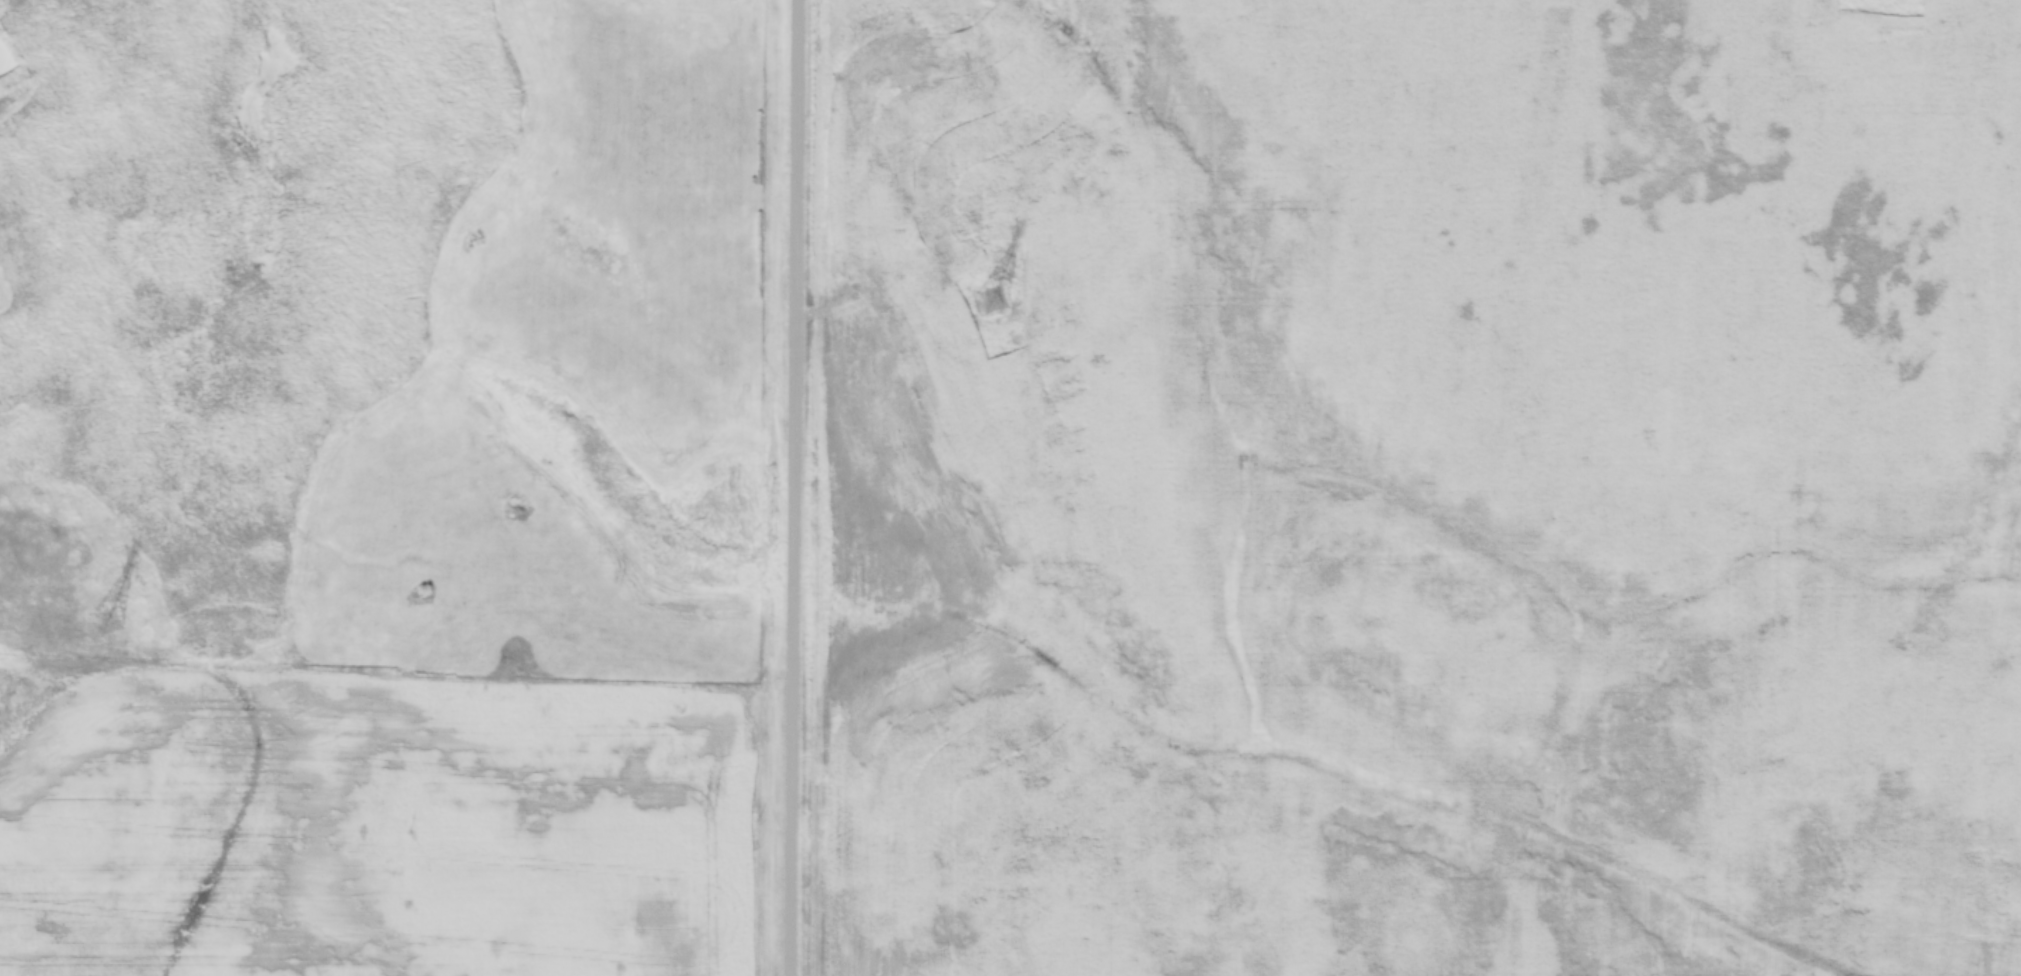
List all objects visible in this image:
power tower: (994, 300)
road: (796, 488)
power tower: (112, 623)

